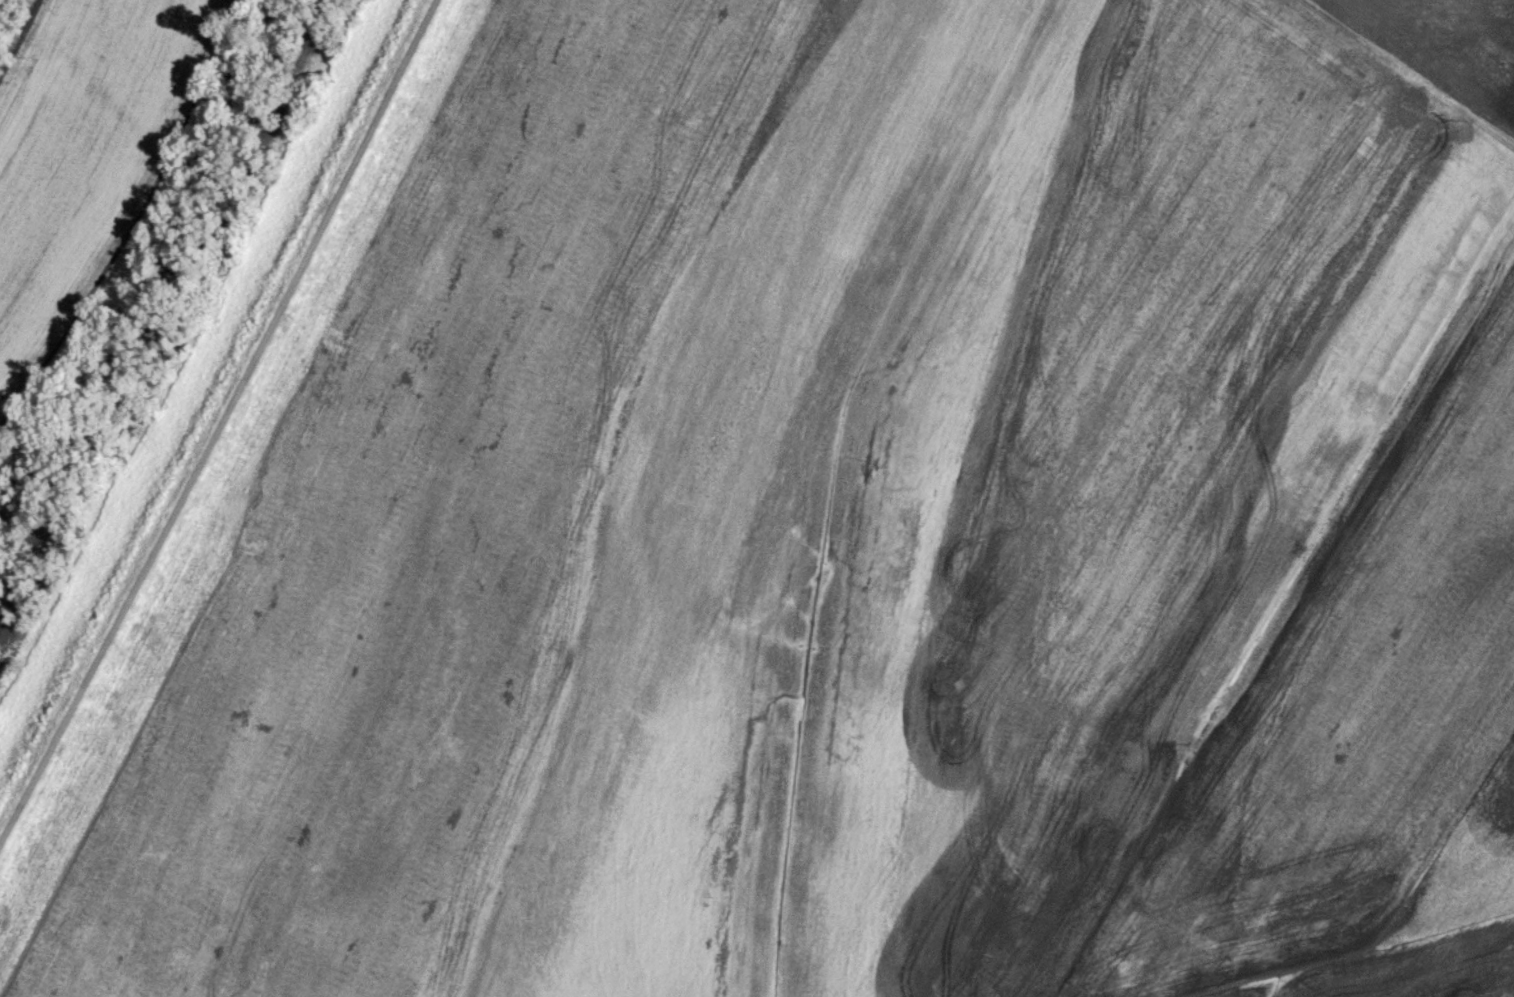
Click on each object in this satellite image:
road: (220, 422)

